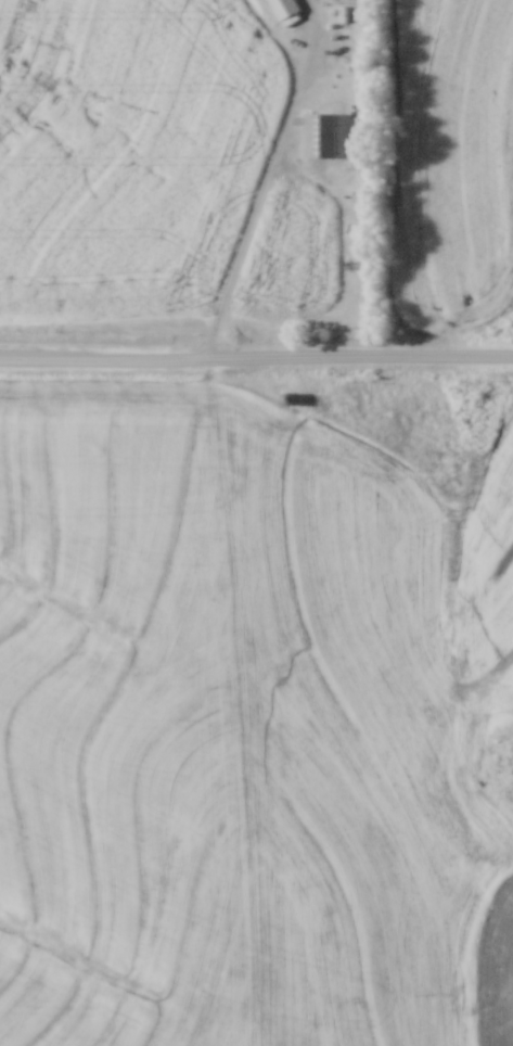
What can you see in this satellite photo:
building: (321, 135)
road: (269, 180)
road: (256, 360)
building: (290, 396)

